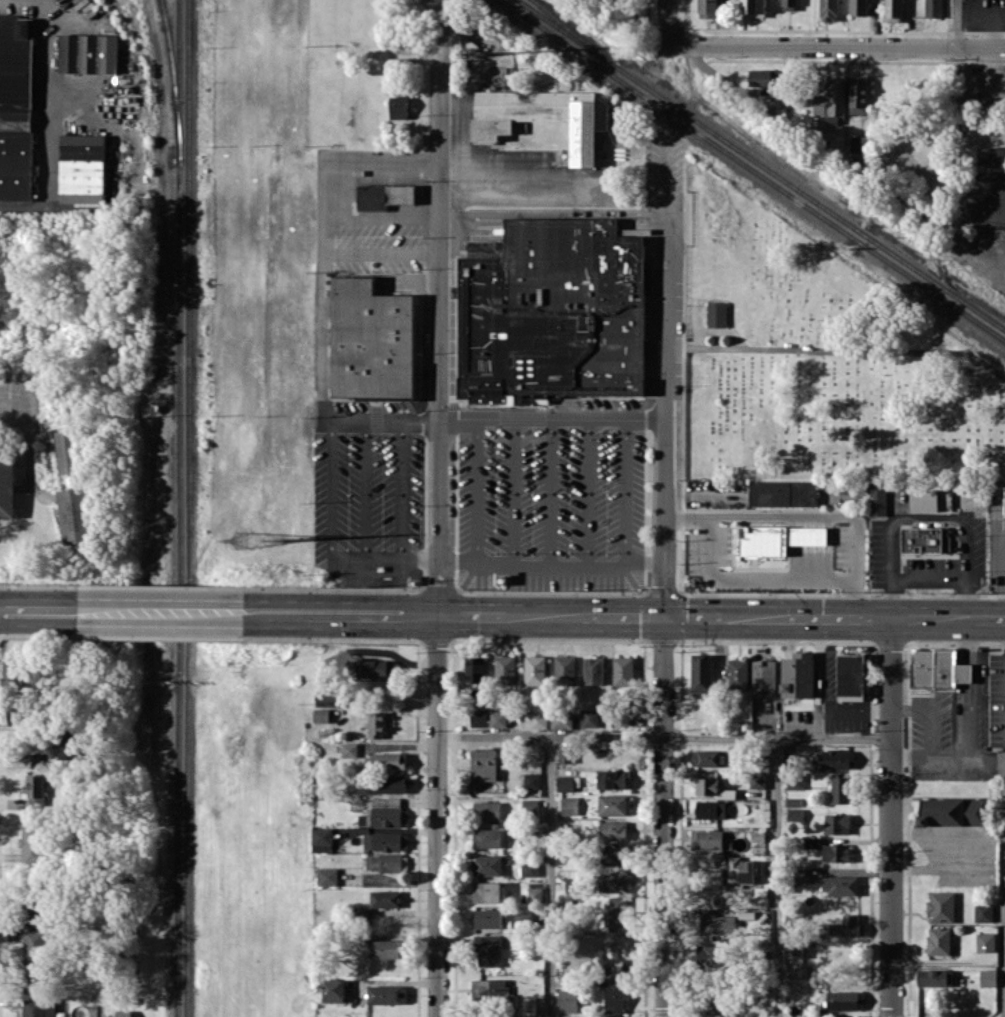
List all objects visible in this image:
building: (790, 4)
building: (706, 8)
building: (753, 8)
building: (933, 8)
building: (829, 10)
building: (893, 10)
road: (669, 22)
railway: (575, 32)
road: (837, 47)
building: (88, 53)
building: (764, 77)
railway: (172, 79)
road: (439, 79)
building: (858, 95)
building: (16, 107)
building: (399, 107)
building: (832, 109)
road: (957, 113)
building: (544, 117)
building: (860, 144)
building: (991, 156)
road: (379, 159)
railway: (762, 163)
building: (82, 168)
railway: (753, 169)
building: (384, 195)
road: (379, 253)
road: (992, 255)
road: (320, 288)
building: (553, 312)
building: (716, 314)
building: (371, 341)
park: (820, 361)
road: (664, 374)
road: (491, 419)
road: (27, 433)
building: (64, 451)
building: (6, 481)
road: (331, 488)
road: (365, 488)
road: (401, 489)
road: (475, 489)
road: (512, 489)
road: (547, 489)
road: (587, 489)
road: (624, 489)
building: (783, 493)
building: (877, 498)
building: (931, 500)
railway: (178, 508)
railway: (187, 508)
road: (808, 513)
road: (929, 515)
building: (71, 516)
power tower: (281, 537)
building: (777, 538)
building: (924, 539)
road: (999, 557)
road: (384, 558)
road: (551, 560)
road: (758, 576)
road: (928, 577)
road: (439, 588)
road: (39, 610)
road: (162, 612)
road: (455, 615)
traffic signals: (663, 617)
road: (833, 617)
building: (375, 668)
building: (475, 668)
building: (506, 669)
building: (536, 669)
building: (938, 669)
building: (13, 670)
building: (565, 670)
building: (594, 670)
building: (624, 670)
building: (702, 672)
building: (738, 672)
building: (798, 675)
building: (851, 676)
building: (764, 677)
road: (972, 688)
building: (329, 697)
building: (321, 715)
building: (480, 717)
building: (590, 717)
road: (929, 717)
building: (499, 718)
building: (539, 720)
building: (562, 721)
building: (377, 724)
road: (663, 736)
building: (67, 746)
building: (567, 753)
building: (708, 758)
building: (836, 758)
road: (947, 758)
building: (39, 759)
building: (386, 760)
building: (485, 764)
building: (613, 779)
building: (533, 780)
building: (758, 780)
building: (795, 782)
building: (391, 783)
building: (565, 783)
building: (707, 786)
building: (35, 789)
building: (841, 789)
building: (727, 793)
building: (615, 804)
building: (530, 805)
building: (570, 805)
building: (711, 809)
building: (487, 810)
building: (953, 811)
building: (384, 813)
building: (796, 813)
road: (663, 817)
road: (890, 817)
building: (837, 823)
building: (613, 830)
building: (487, 837)
building: (321, 839)
building: (707, 839)
building: (385, 841)
building: (812, 842)
building: (33, 843)
building: (836, 852)
building: (613, 855)
building: (383, 862)
building: (487, 864)
building: (529, 868)
building: (741, 870)
building: (327, 876)
road: (551, 876)
road: (777, 876)
building: (800, 876)
building: (614, 881)
building: (571, 884)
building: (840, 885)
road: (1004, 887)
building: (487, 891)
building: (534, 894)
building: (760, 896)
building: (386, 898)
building: (941, 906)
building: (34, 910)
building: (618, 913)
building: (983, 913)
building: (487, 918)
building: (718, 924)
building: (848, 926)
building: (939, 941)
building: (985, 942)
building: (34, 944)
building: (386, 948)
building: (794, 948)
building: (488, 950)
building: (714, 954)
road: (1004, 965)
building: (934, 977)
building: (988, 977)
building: (34, 978)
building: (619, 986)
building: (490, 989)
building: (333, 990)
building: (387, 994)
building: (568, 999)
building: (843, 1000)
building: (713, 1003)
building: (39, 1007)
building: (123, 1013)

